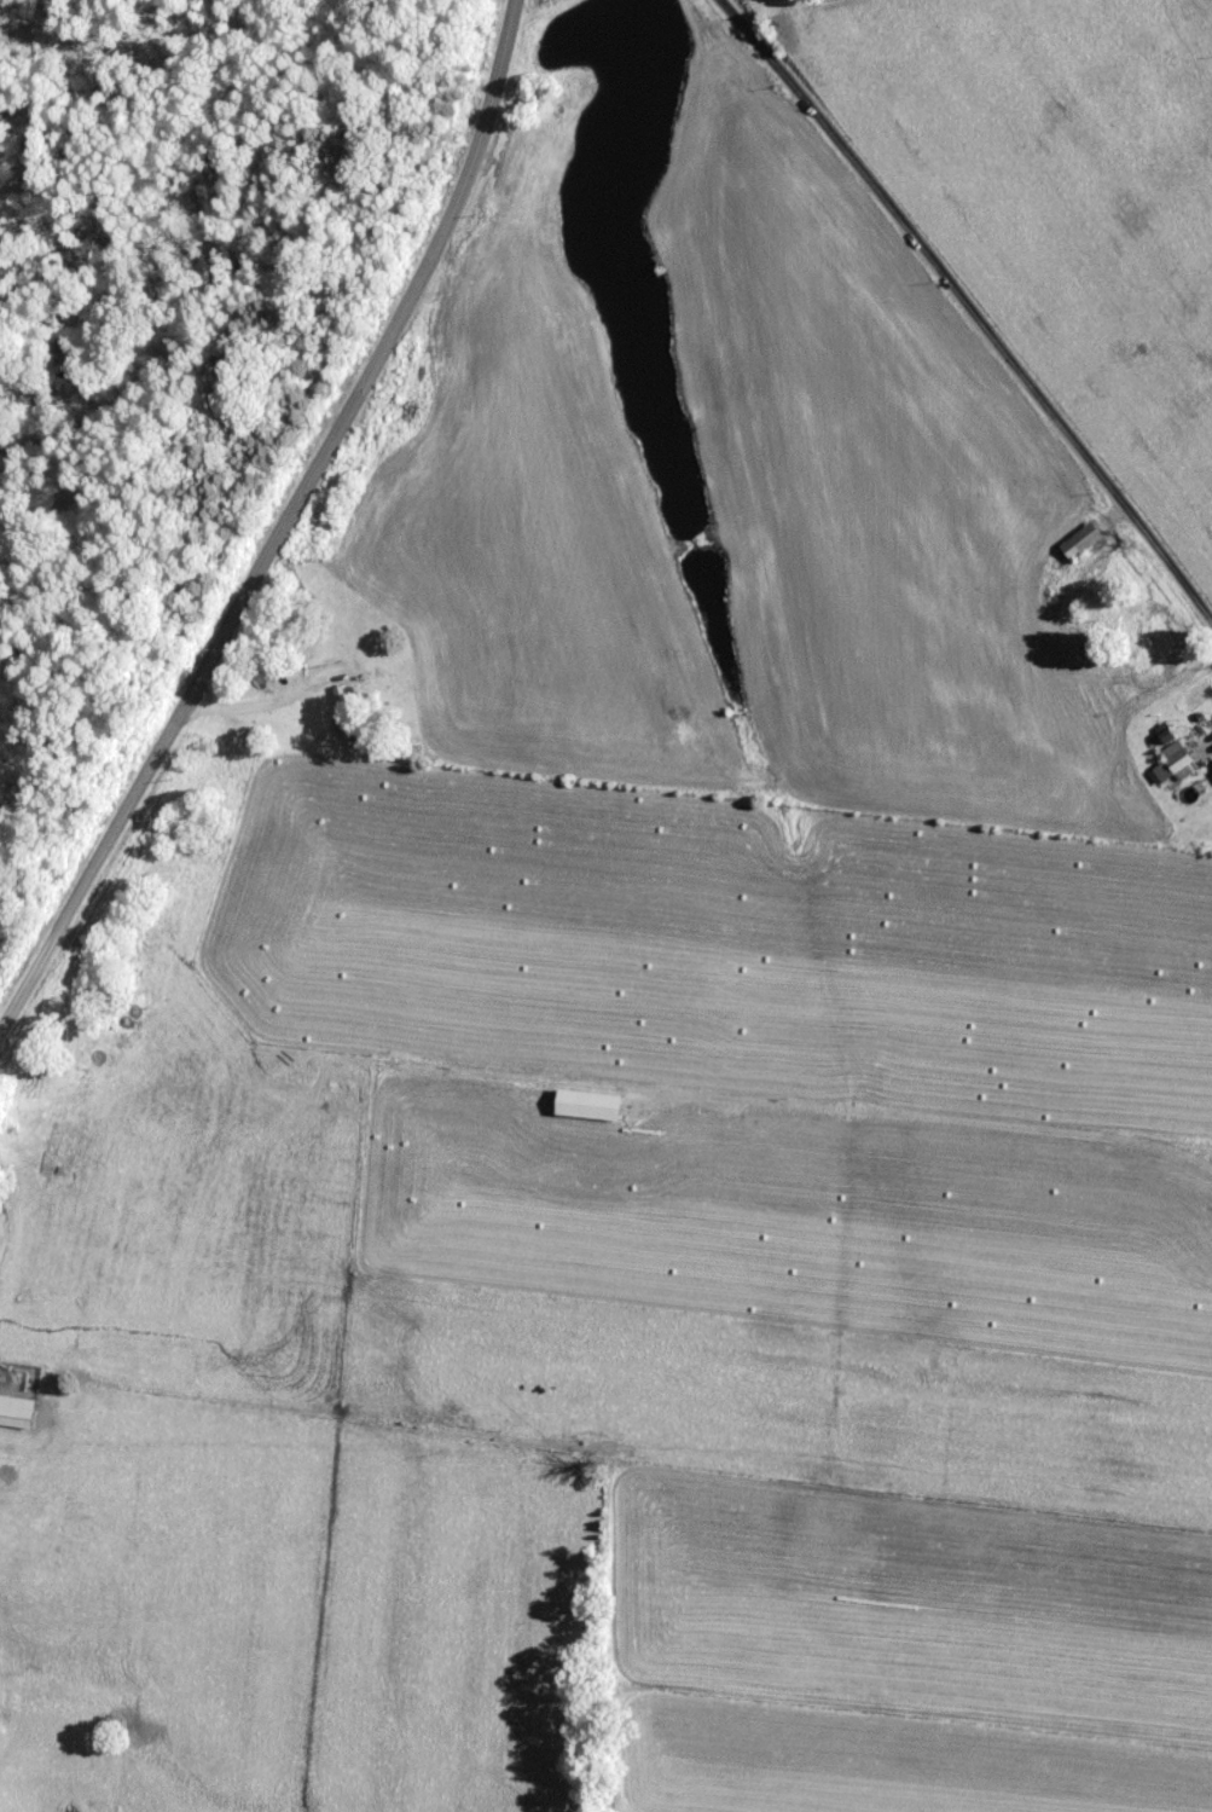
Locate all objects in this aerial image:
road: (969, 306)
road: (283, 528)
building: (1074, 542)
building: (1094, 584)
building: (343, 710)
building: (1167, 762)
building: (19, 1409)

